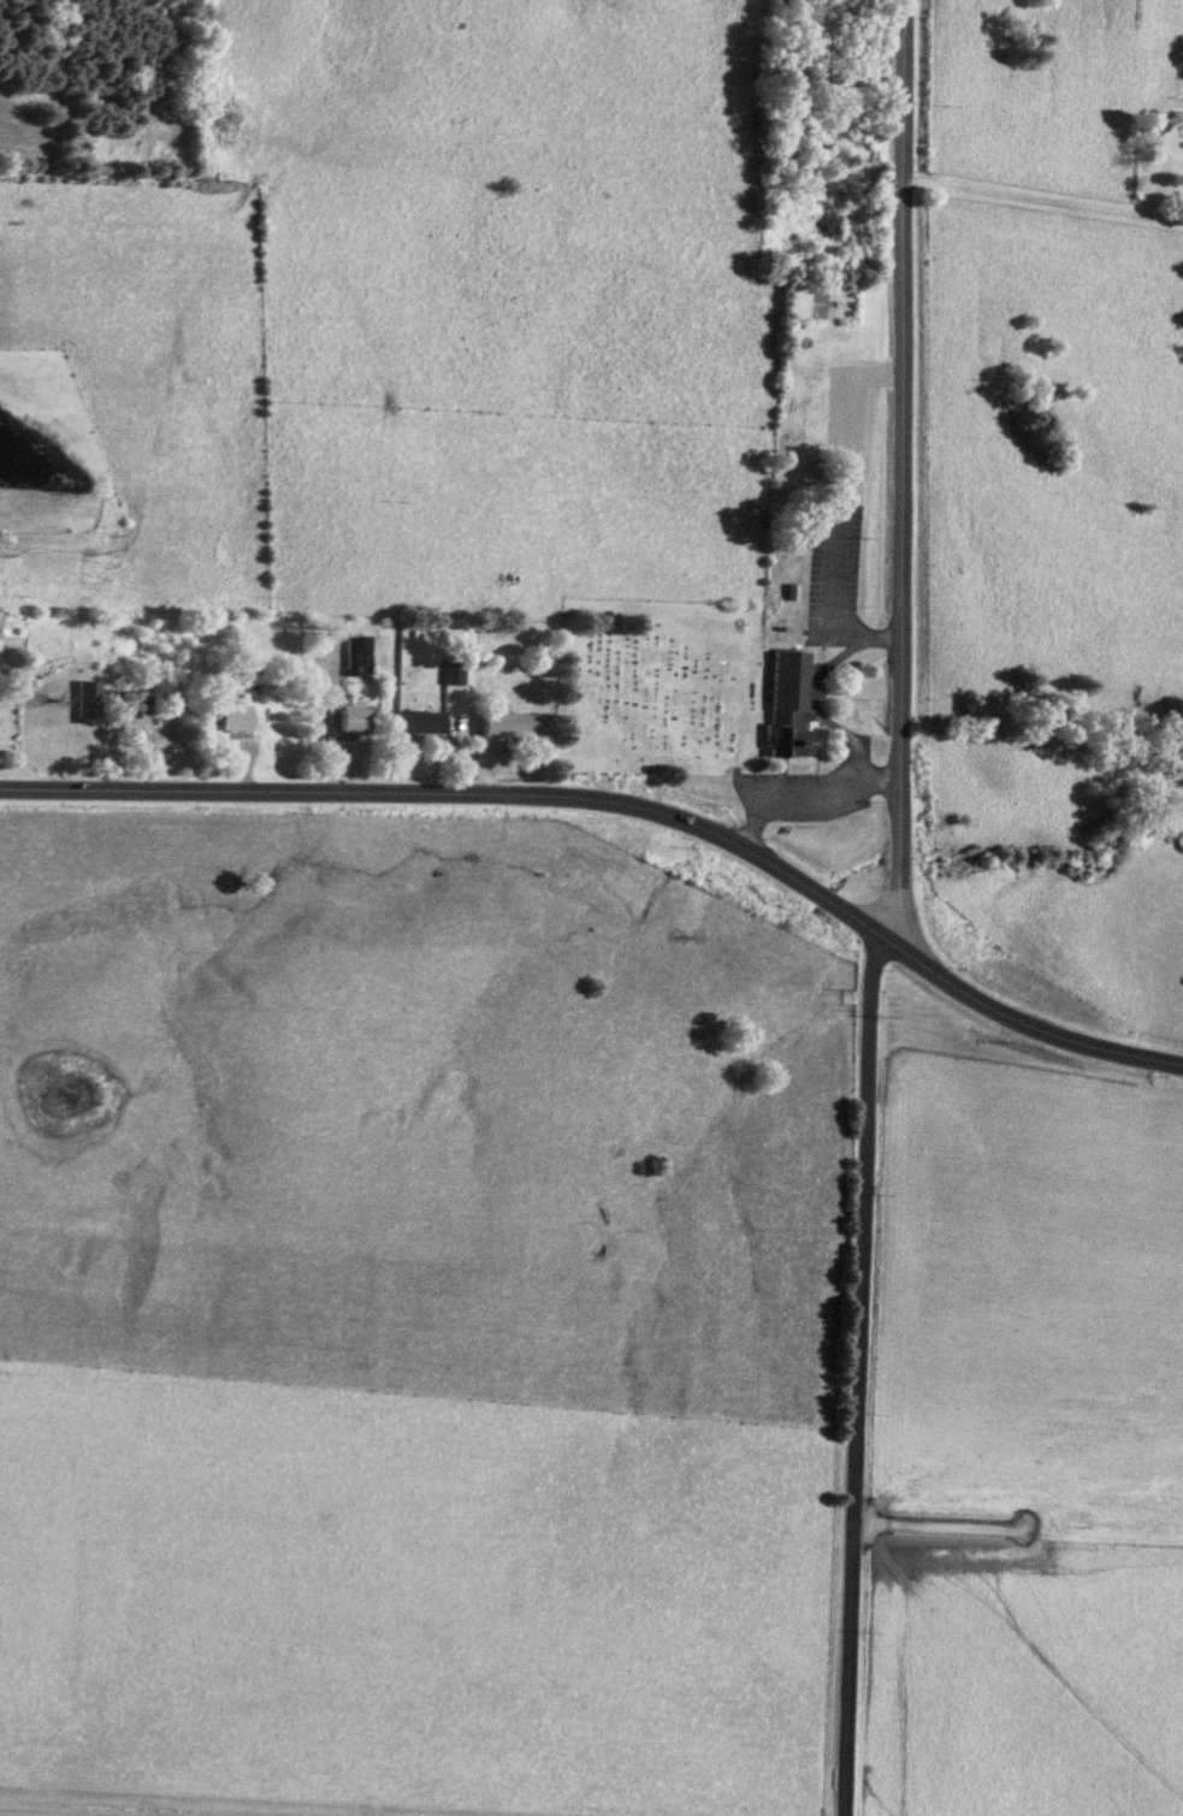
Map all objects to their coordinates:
road: (1041, 197)
road: (895, 469)
road: (833, 509)
building: (82, 704)
building: (141, 706)
building: (783, 708)
building: (232, 720)
building: (349, 723)
building: (413, 724)
building: (503, 727)
road: (803, 794)
road: (622, 812)
road: (856, 1376)
road: (7, 1815)

